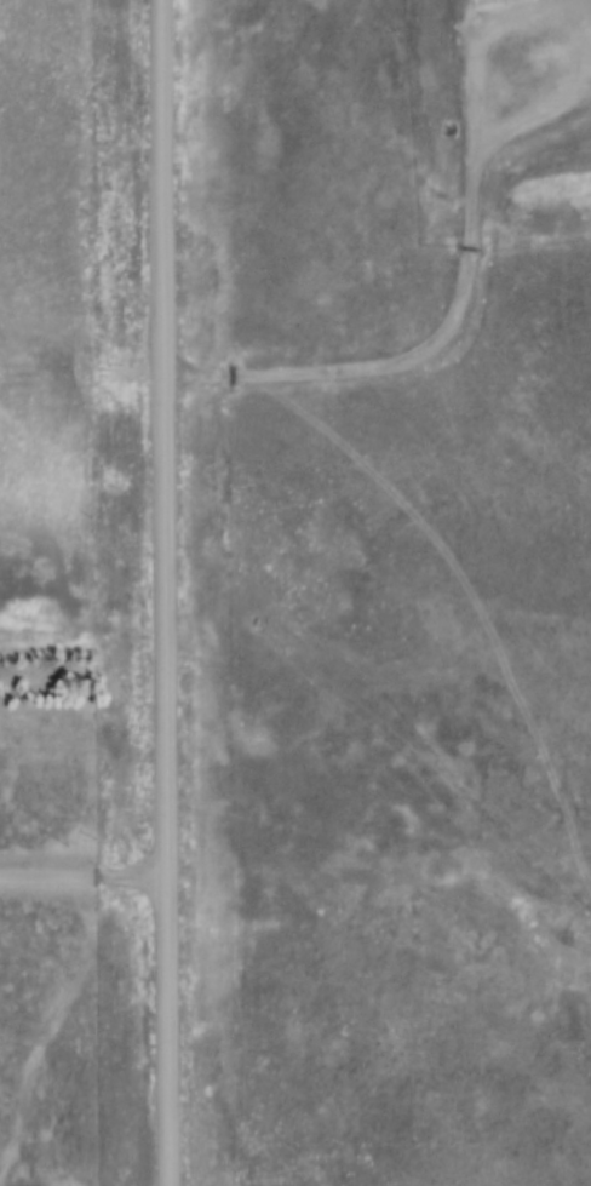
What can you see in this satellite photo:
road: (463, 299)
road: (163, 592)
road: (150, 860)
road: (86, 877)

